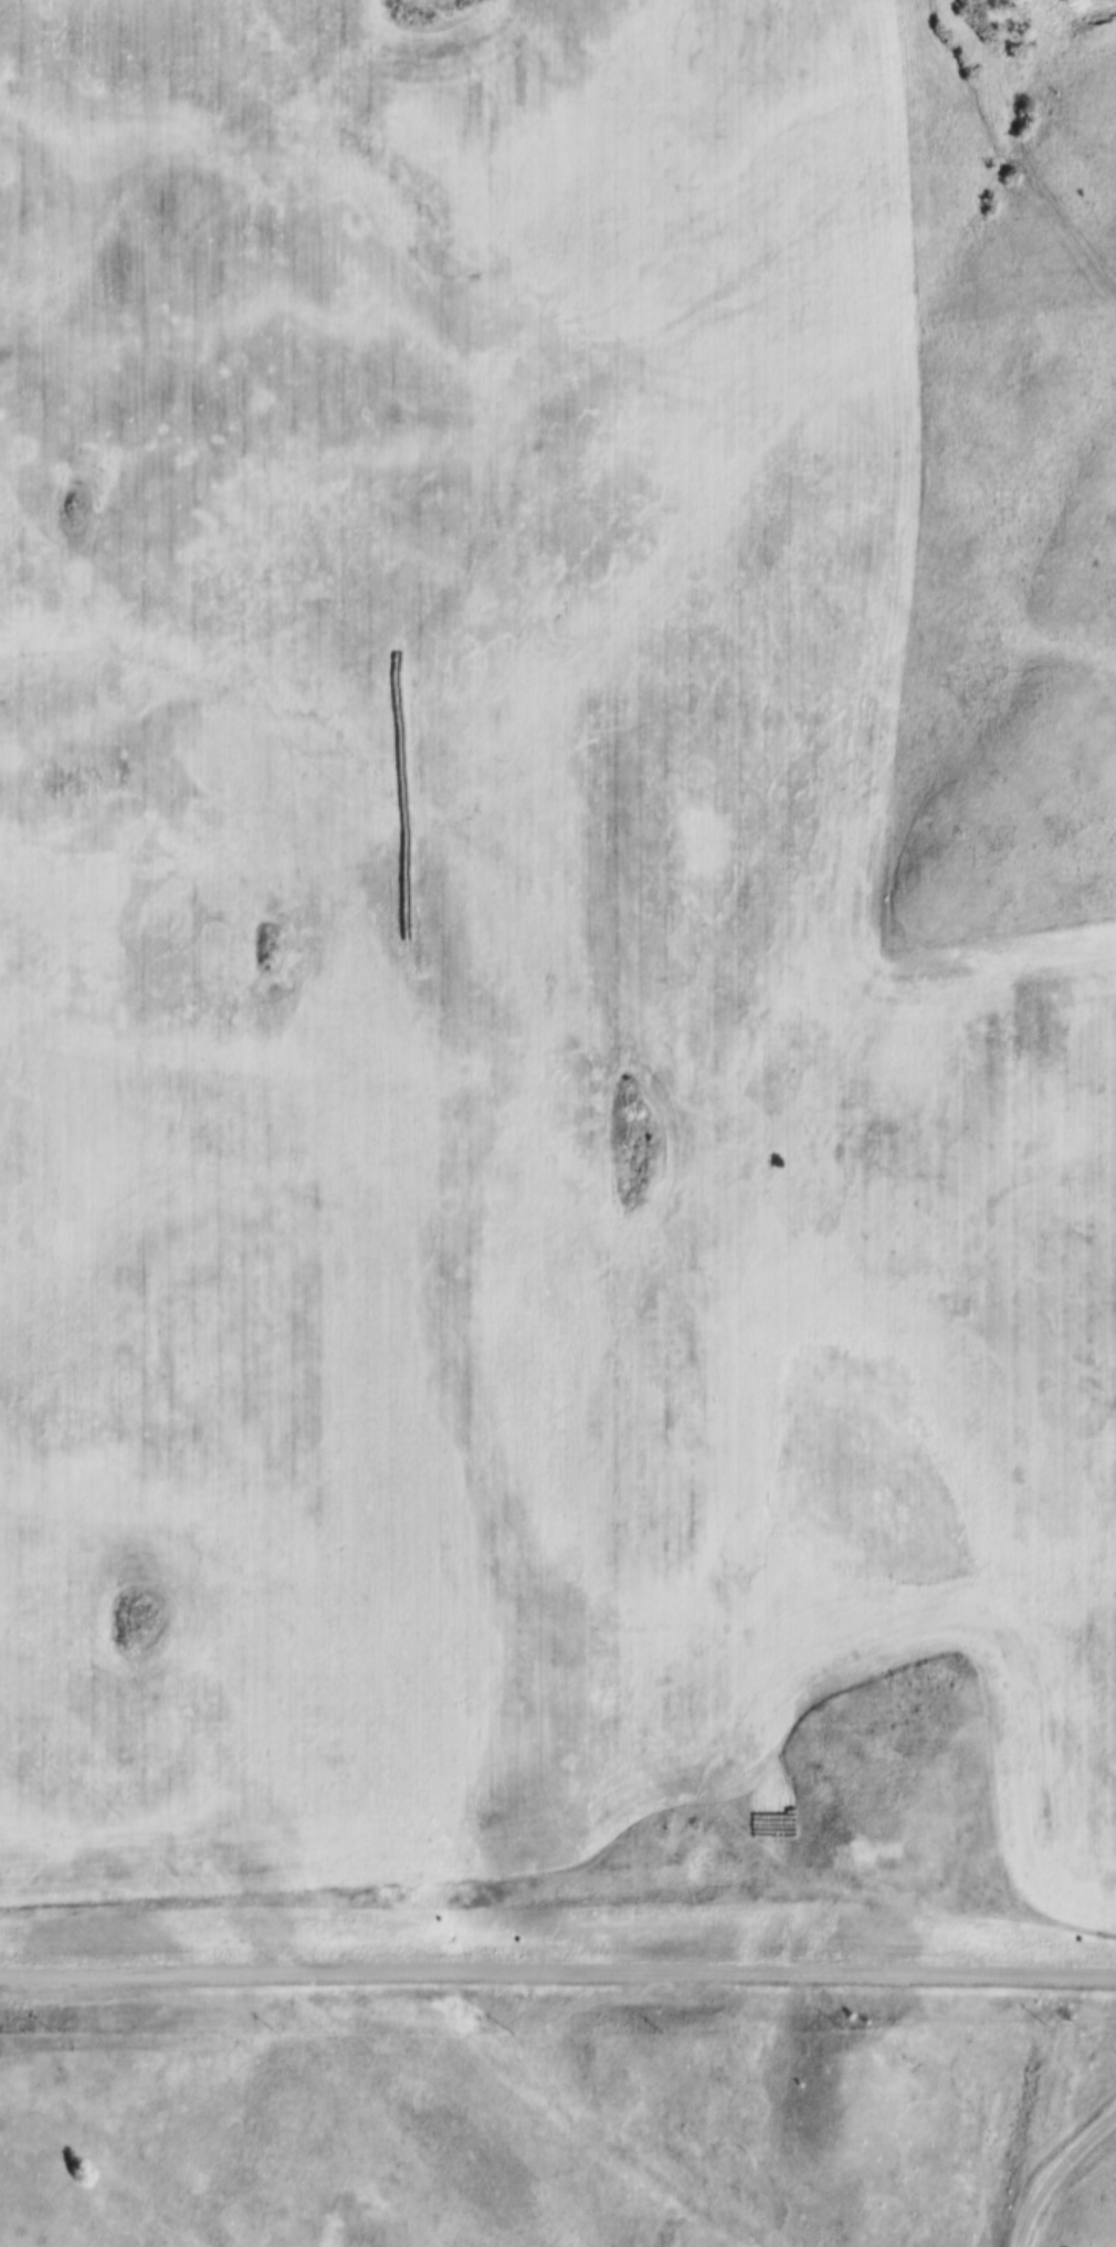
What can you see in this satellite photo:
road: (558, 1965)
road: (1052, 2167)

